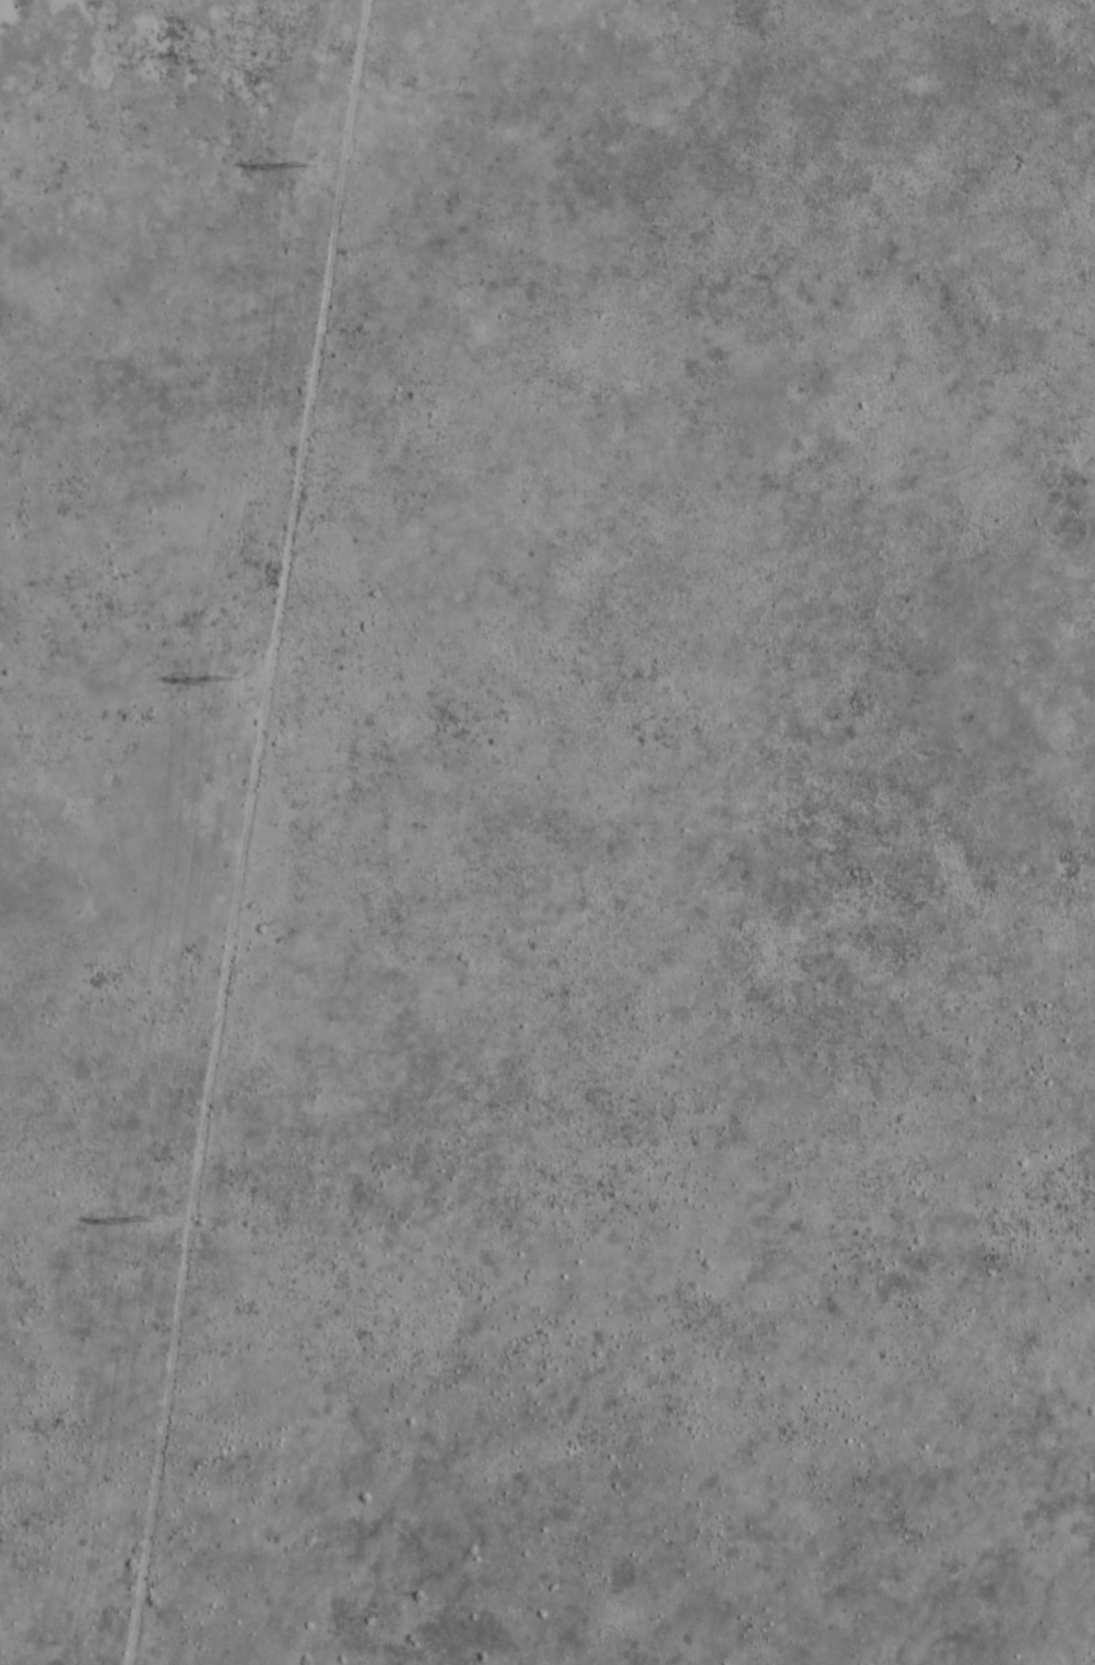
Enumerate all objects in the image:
power tower: (318, 164)
power tower: (243, 678)
power tower: (164, 1218)

